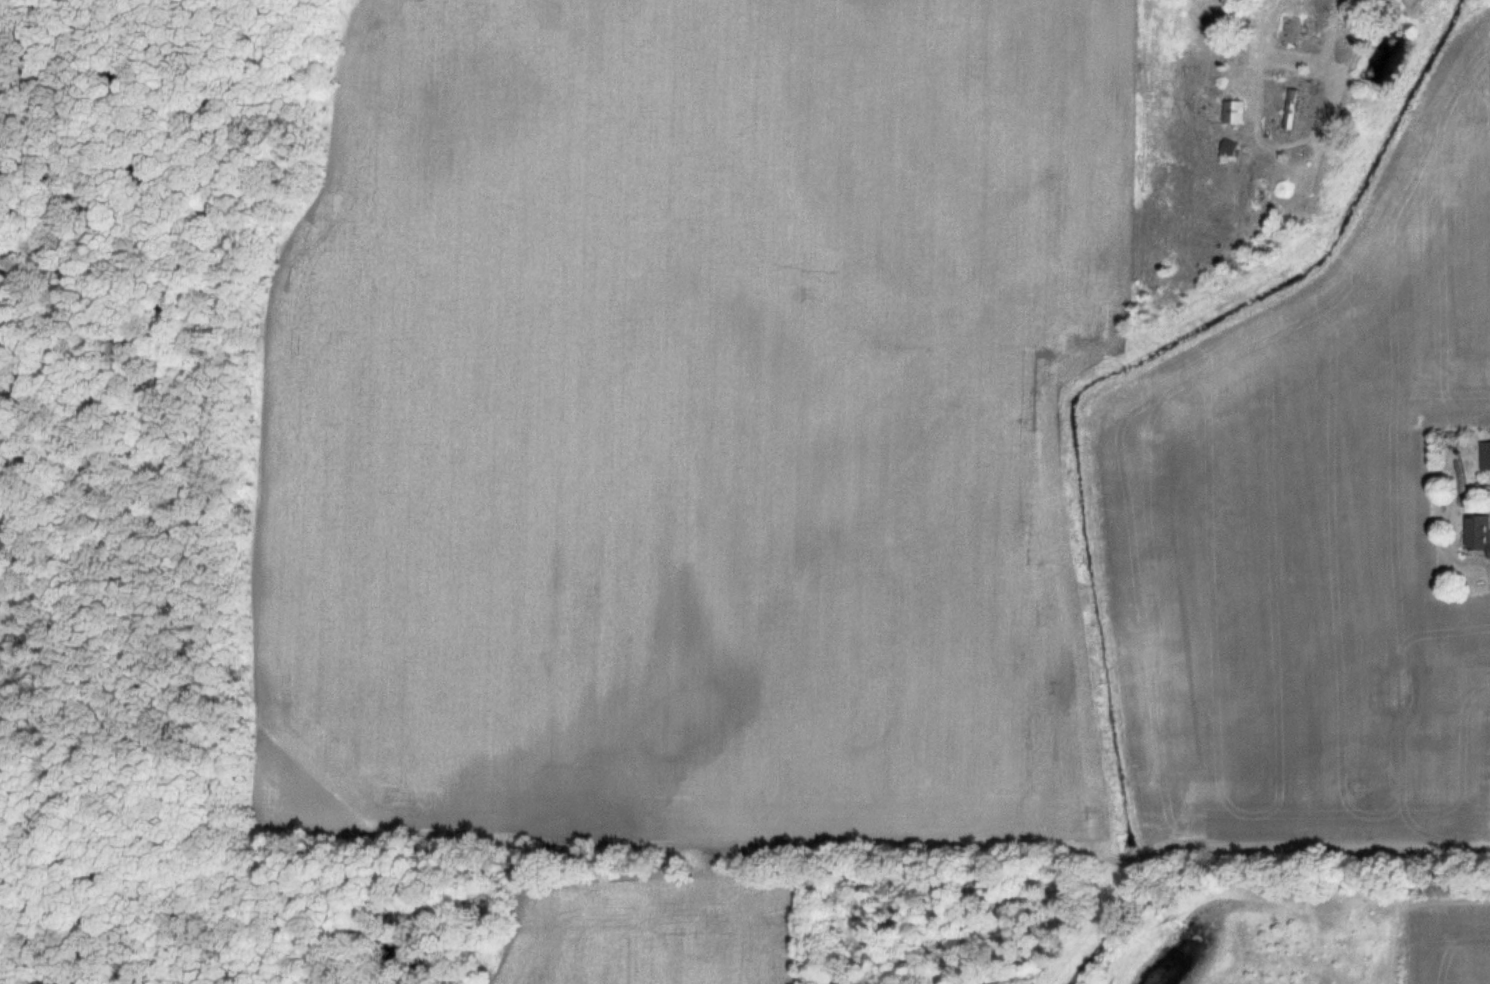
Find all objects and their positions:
road: (1262, 9)
building: (1290, 30)
building: (1289, 109)
building: (1233, 111)
building: (1229, 146)
building: (1485, 454)
building: (1480, 532)

